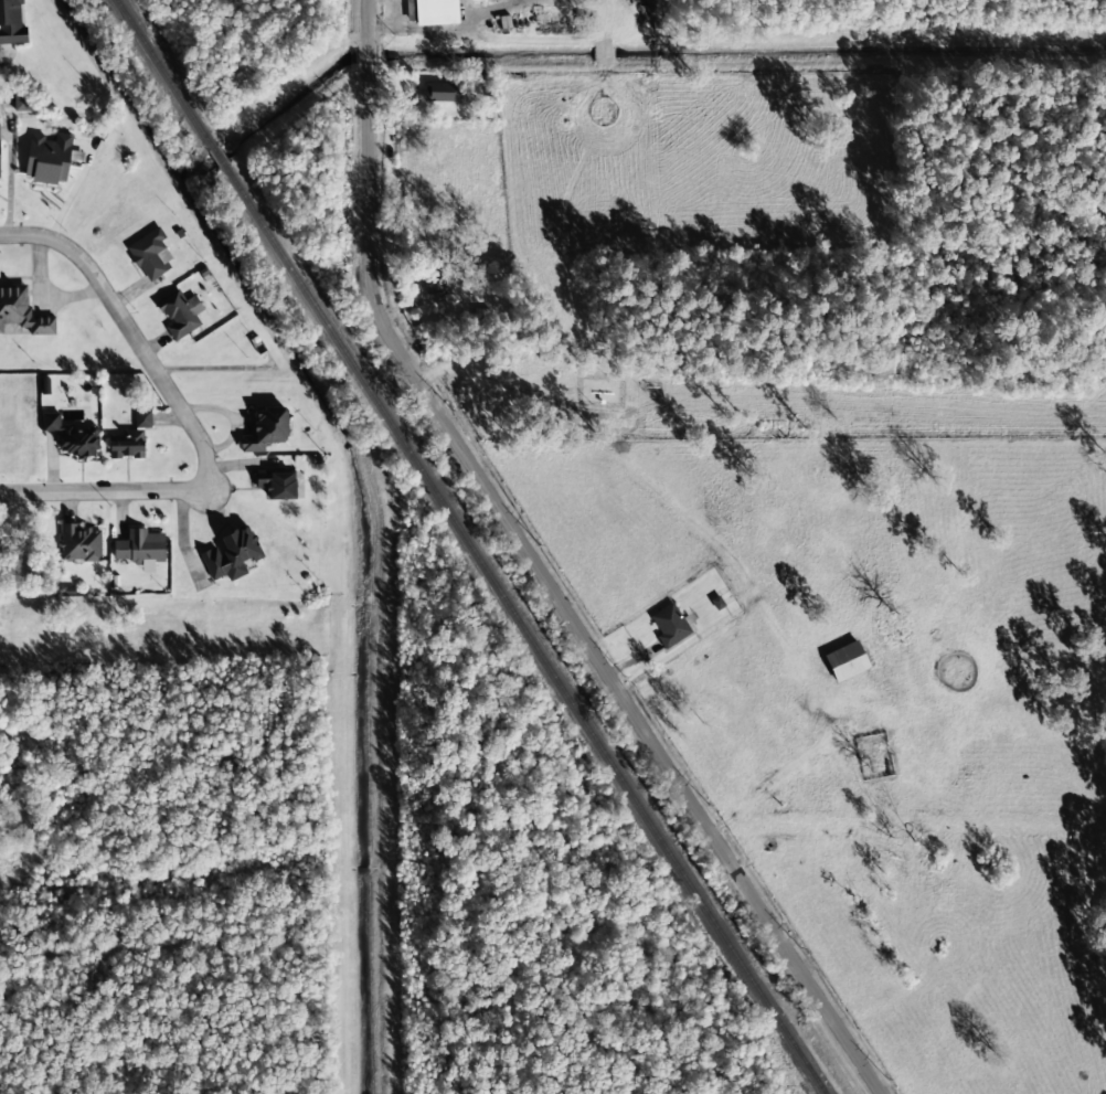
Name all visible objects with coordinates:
building: (436, 12)
road: (368, 20)
building: (11, 23)
road: (368, 53)
railway: (163, 72)
building: (443, 92)
building: (22, 103)
railway: (217, 156)
building: (49, 157)
building: (150, 255)
building: (434, 282)
building: (21, 311)
building: (180, 314)
road: (131, 333)
building: (142, 418)
building: (266, 429)
building: (70, 436)
building: (127, 445)
building: (277, 485)
road: (103, 491)
building: (79, 543)
building: (140, 549)
building: (231, 554)
road: (559, 601)
building: (670, 625)
railway: (524, 630)
building: (846, 661)

